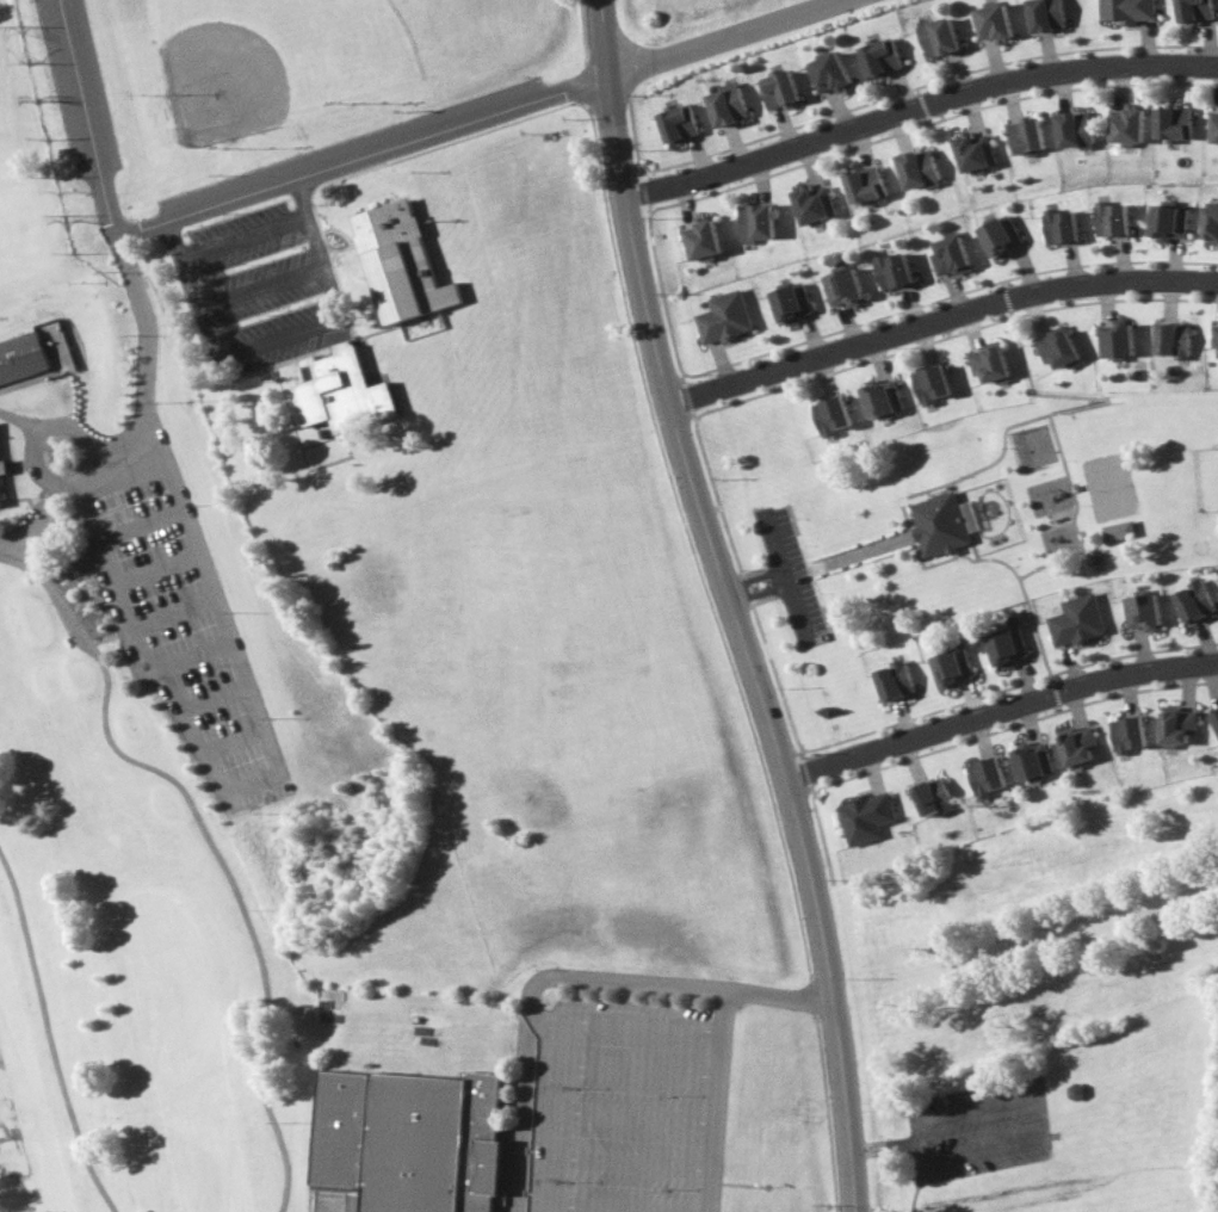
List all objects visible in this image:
building: (1129, 8)
building: (1195, 8)
building: (1046, 13)
building: (990, 18)
road: (580, 30)
building: (936, 33)
building: (880, 55)
park: (272, 60)
building: (829, 70)
building: (779, 87)
road: (902, 89)
building: (727, 104)
road: (916, 104)
road: (842, 110)
road: (86, 116)
road: (471, 117)
building: (1173, 120)
building: (678, 122)
building: (1124, 122)
building: (1212, 123)
road: (786, 124)
building: (1072, 126)
building: (1021, 135)
road: (861, 137)
road: (736, 142)
building: (969, 150)
road: (703, 153)
road: (808, 154)
building: (914, 167)
road: (759, 169)
building: (863, 183)
road: (684, 197)
building: (812, 202)
building: (1112, 216)
building: (754, 219)
building: (1169, 219)
building: (1059, 225)
building: (1210, 225)
building: (998, 235)
building: (699, 237)
road: (240, 239)
building: (947, 254)
building: (398, 262)
building: (891, 267)
building: (840, 286)
building: (791, 301)
building: (723, 316)
road: (938, 316)
building: (1213, 336)
building: (1171, 339)
road: (143, 344)
building: (1055, 347)
building: (21, 357)
building: (985, 361)
building: (927, 382)
building: (344, 392)
building: (878, 397)
road: (686, 398)
building: (828, 414)
building: (2, 466)
road: (954, 480)
building: (0, 500)
building: (970, 515)
road: (1072, 517)
road: (137, 520)
building: (938, 522)
park: (962, 532)
building: (1117, 532)
road: (860, 552)
road: (153, 565)
road: (810, 571)
road: (799, 573)
road: (790, 576)
road: (761, 589)
building: (1193, 600)
road: (734, 605)
building: (1142, 611)
road: (169, 616)
building: (1076, 619)
road: (758, 622)
park: (521, 641)
building: (1006, 645)
road: (183, 655)
building: (951, 667)
building: (894, 680)
road: (208, 698)
road: (1002, 711)
building: (1216, 717)
building: (1176, 725)
building: (1129, 732)
park: (132, 741)
road: (228, 741)
building: (1076, 744)
building: (1032, 760)
road: (265, 765)
road: (803, 772)
building: (985, 775)
building: (932, 797)
building: (865, 817)
road: (1024, 942)
road: (568, 977)
road: (715, 1101)
road: (1034, 1115)
park: (1059, 1128)
building: (408, 1138)
road: (884, 1145)

